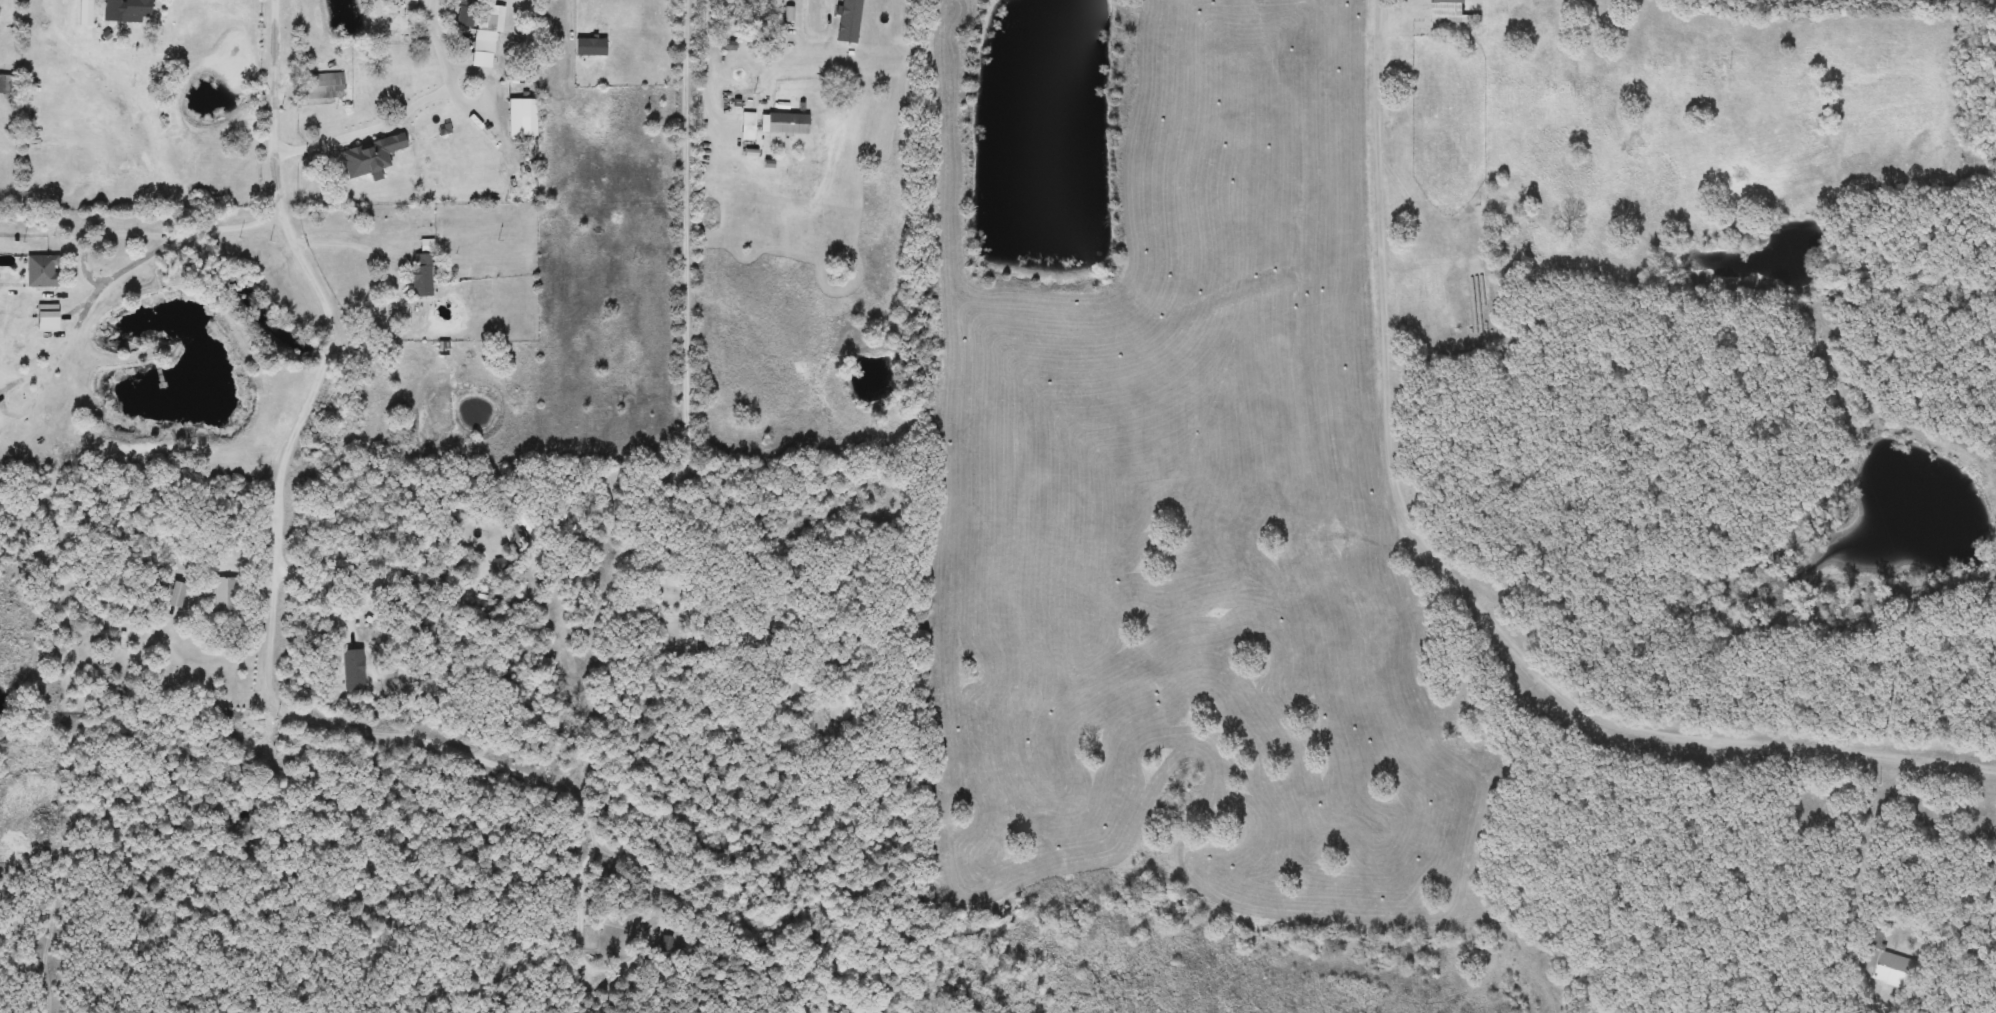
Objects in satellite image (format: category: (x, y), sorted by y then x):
building: (138, 9)
building: (1452, 12)
road: (434, 14)
road: (575, 16)
building: (92, 22)
road: (386, 34)
building: (485, 42)
building: (591, 47)
road: (707, 67)
building: (8, 85)
building: (326, 86)
road: (432, 97)
building: (784, 124)
road: (122, 229)
road: (232, 229)
road: (353, 245)
building: (43, 270)
building: (423, 276)
building: (48, 317)
road: (690, 364)
road: (35, 375)
road: (281, 492)
road: (1457, 578)
building: (176, 595)
building: (227, 595)
road: (364, 602)
building: (763, 643)
road: (202, 662)
building: (251, 737)
road: (1783, 857)
road: (582, 877)
building: (667, 943)
building: (1895, 964)

